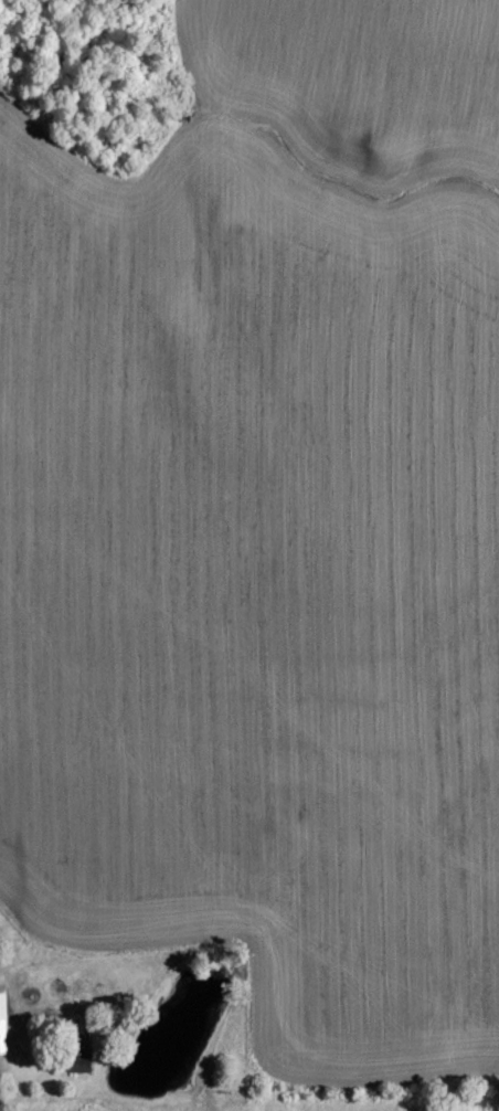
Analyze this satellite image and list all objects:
building: (3, 1025)

